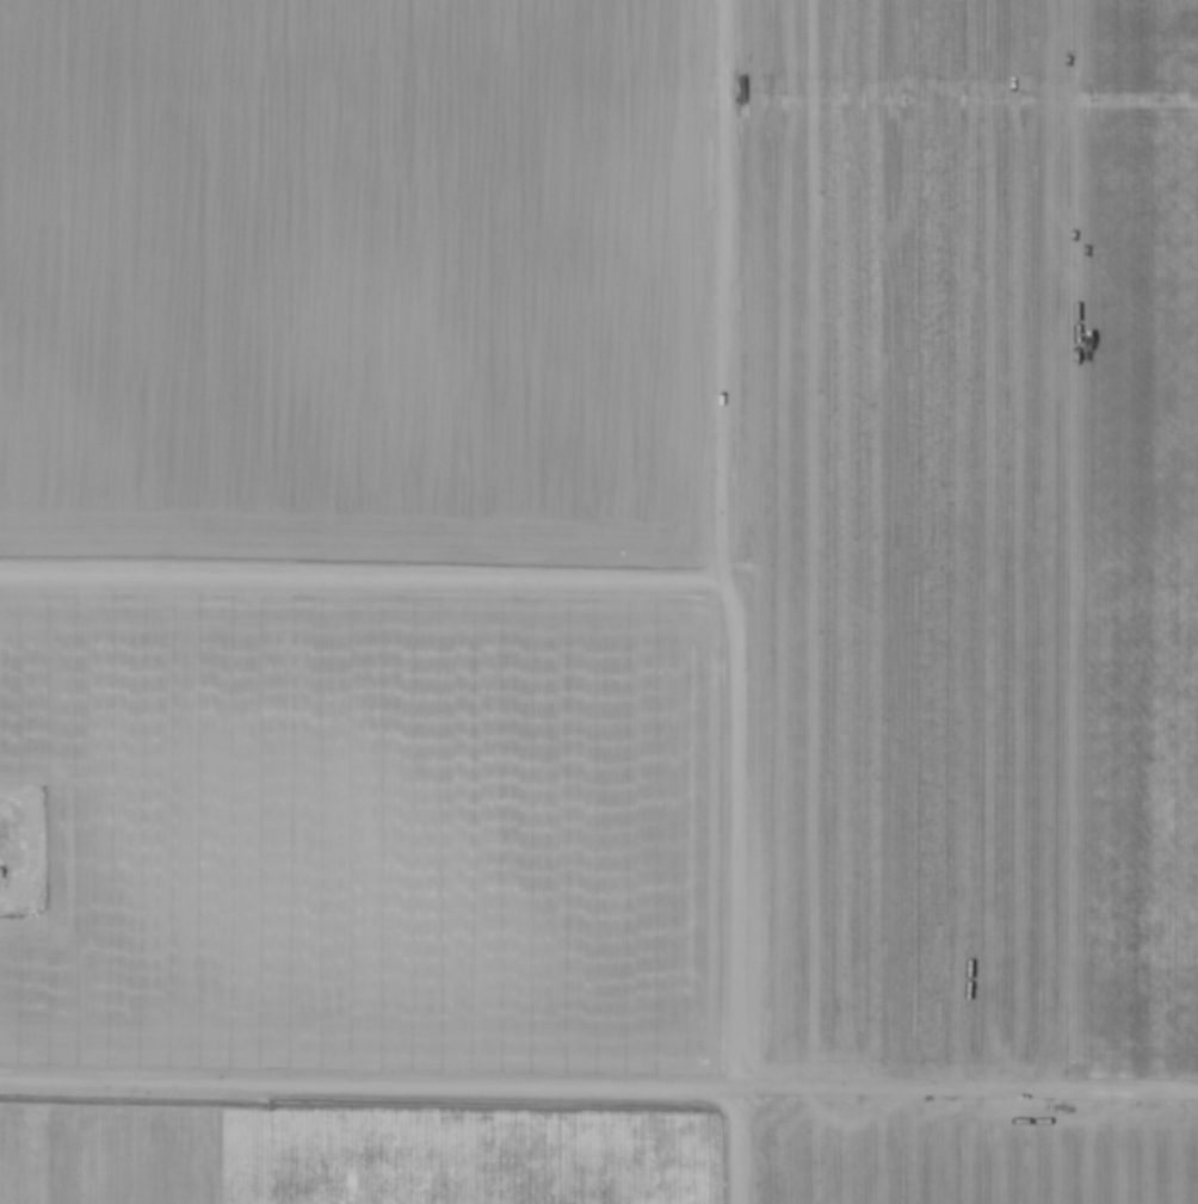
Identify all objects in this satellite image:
crop: (599, 601)
road: (20, 1078)
road: (315, 1085)
road: (893, 1091)

